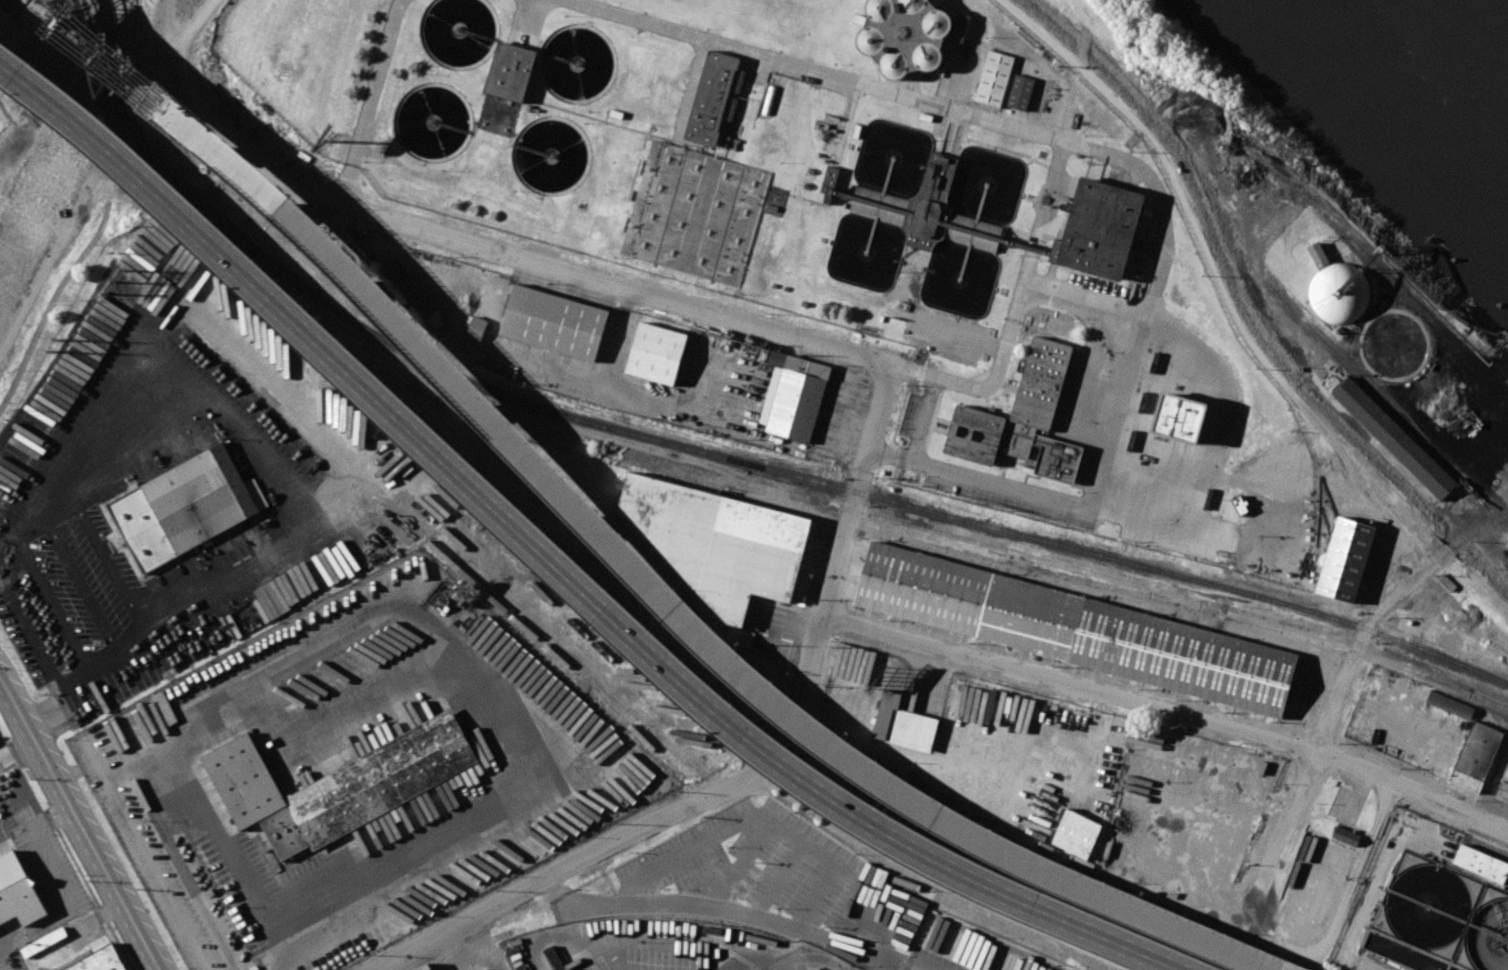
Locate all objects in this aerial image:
building: (960, 28)
railway: (97, 50)
building: (509, 71)
building: (994, 79)
building: (1020, 92)
building: (709, 98)
road: (369, 100)
road: (55, 122)
road: (1144, 170)
building: (829, 182)
building: (927, 213)
building: (1098, 229)
wastewater plant: (796, 243)
road: (1033, 259)
road: (597, 278)
road: (560, 281)
road: (60, 288)
building: (1335, 289)
silo: (1335, 289)
building: (414, 291)
road: (1088, 299)
building: (554, 322)
building: (477, 328)
building: (658, 353)
building: (794, 396)
building: (1021, 417)
building: (1179, 417)
building: (1393, 438)
road: (322, 447)
road: (1211, 449)
railway: (768, 469)
railway: (727, 477)
road: (859, 488)
building: (343, 504)
parking lot: (148, 505)
building: (183, 507)
road: (609, 542)
building: (719, 542)
road: (98, 543)
building: (1345, 559)
building: (1505, 563)
road: (559, 564)
road: (74, 571)
railway: (1192, 598)
railway: (1176, 604)
road: (1384, 605)
road: (387, 607)
road: (589, 615)
building: (1075, 628)
road: (1071, 681)
road: (61, 698)
building: (1450, 704)
building: (903, 724)
road: (1100, 729)
road: (18, 747)
building: (1476, 756)
road: (108, 758)
parking lot: (6, 773)
parking lot: (354, 775)
building: (342, 784)
road: (1414, 784)
road: (85, 821)
road: (642, 826)
building: (1076, 835)
building: (1345, 836)
parking lot: (3, 843)
building: (1480, 863)
road: (952, 880)
road: (55, 881)
parking lot: (41, 884)
road: (838, 886)
building: (17, 892)
parking lot: (876, 895)
wastewater plant: (1426, 902)
building: (47, 941)
road: (485, 945)
building: (100, 961)
road: (792, 961)
parking lot: (841, 965)
road: (287, 967)
building: (427, 967)
building: (487, 968)
building: (821, 969)

